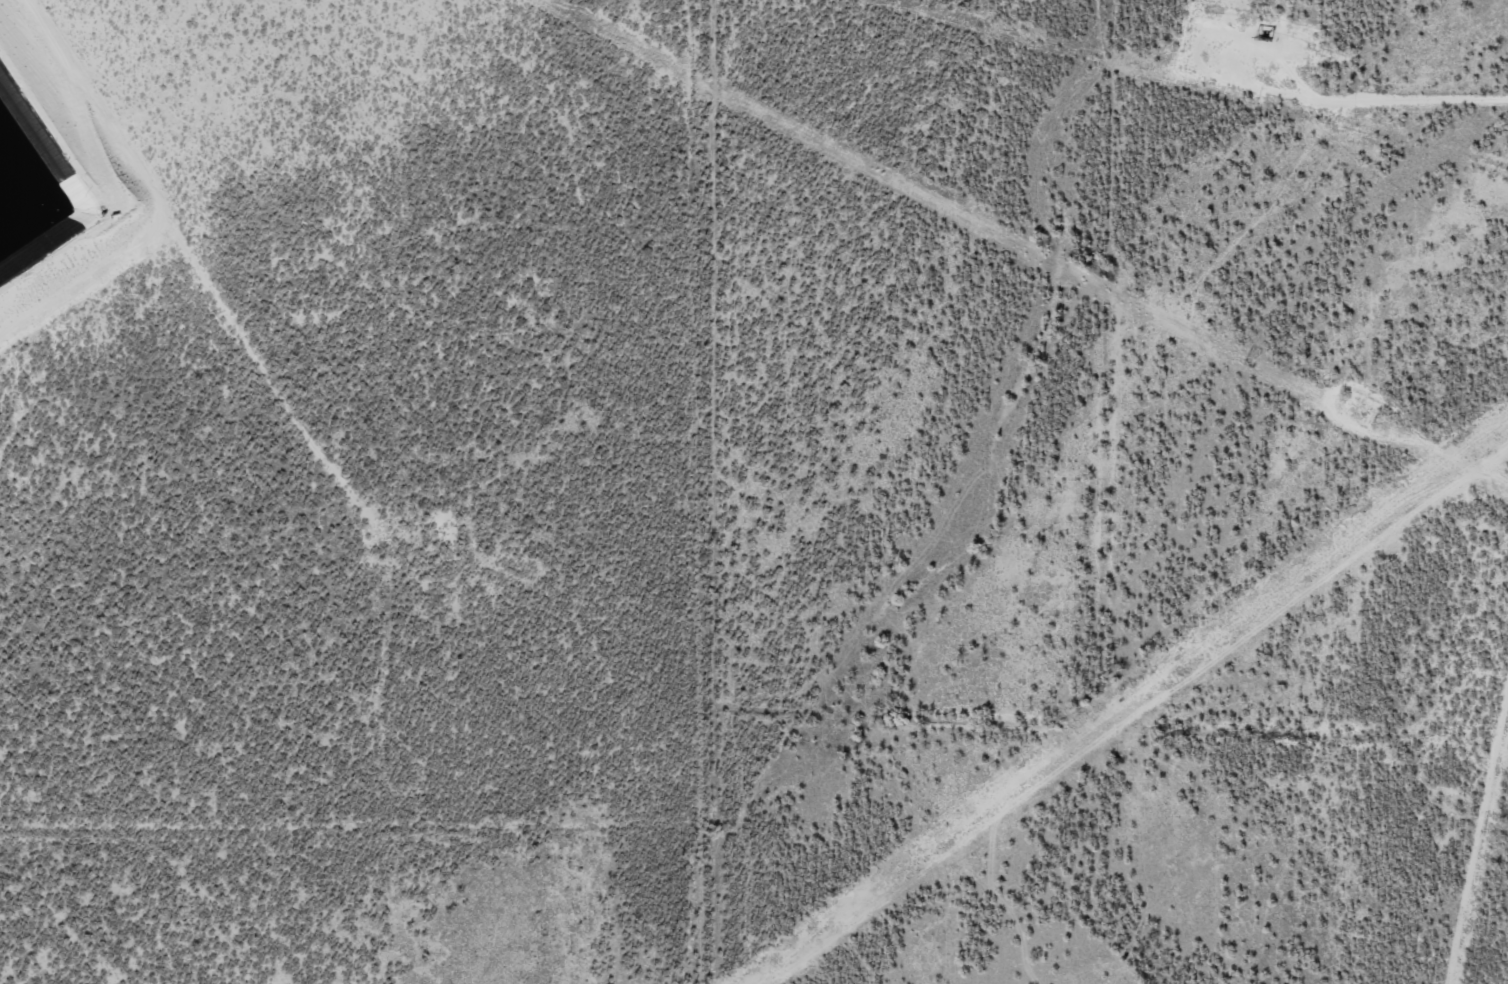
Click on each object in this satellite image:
road: (1471, 532)

